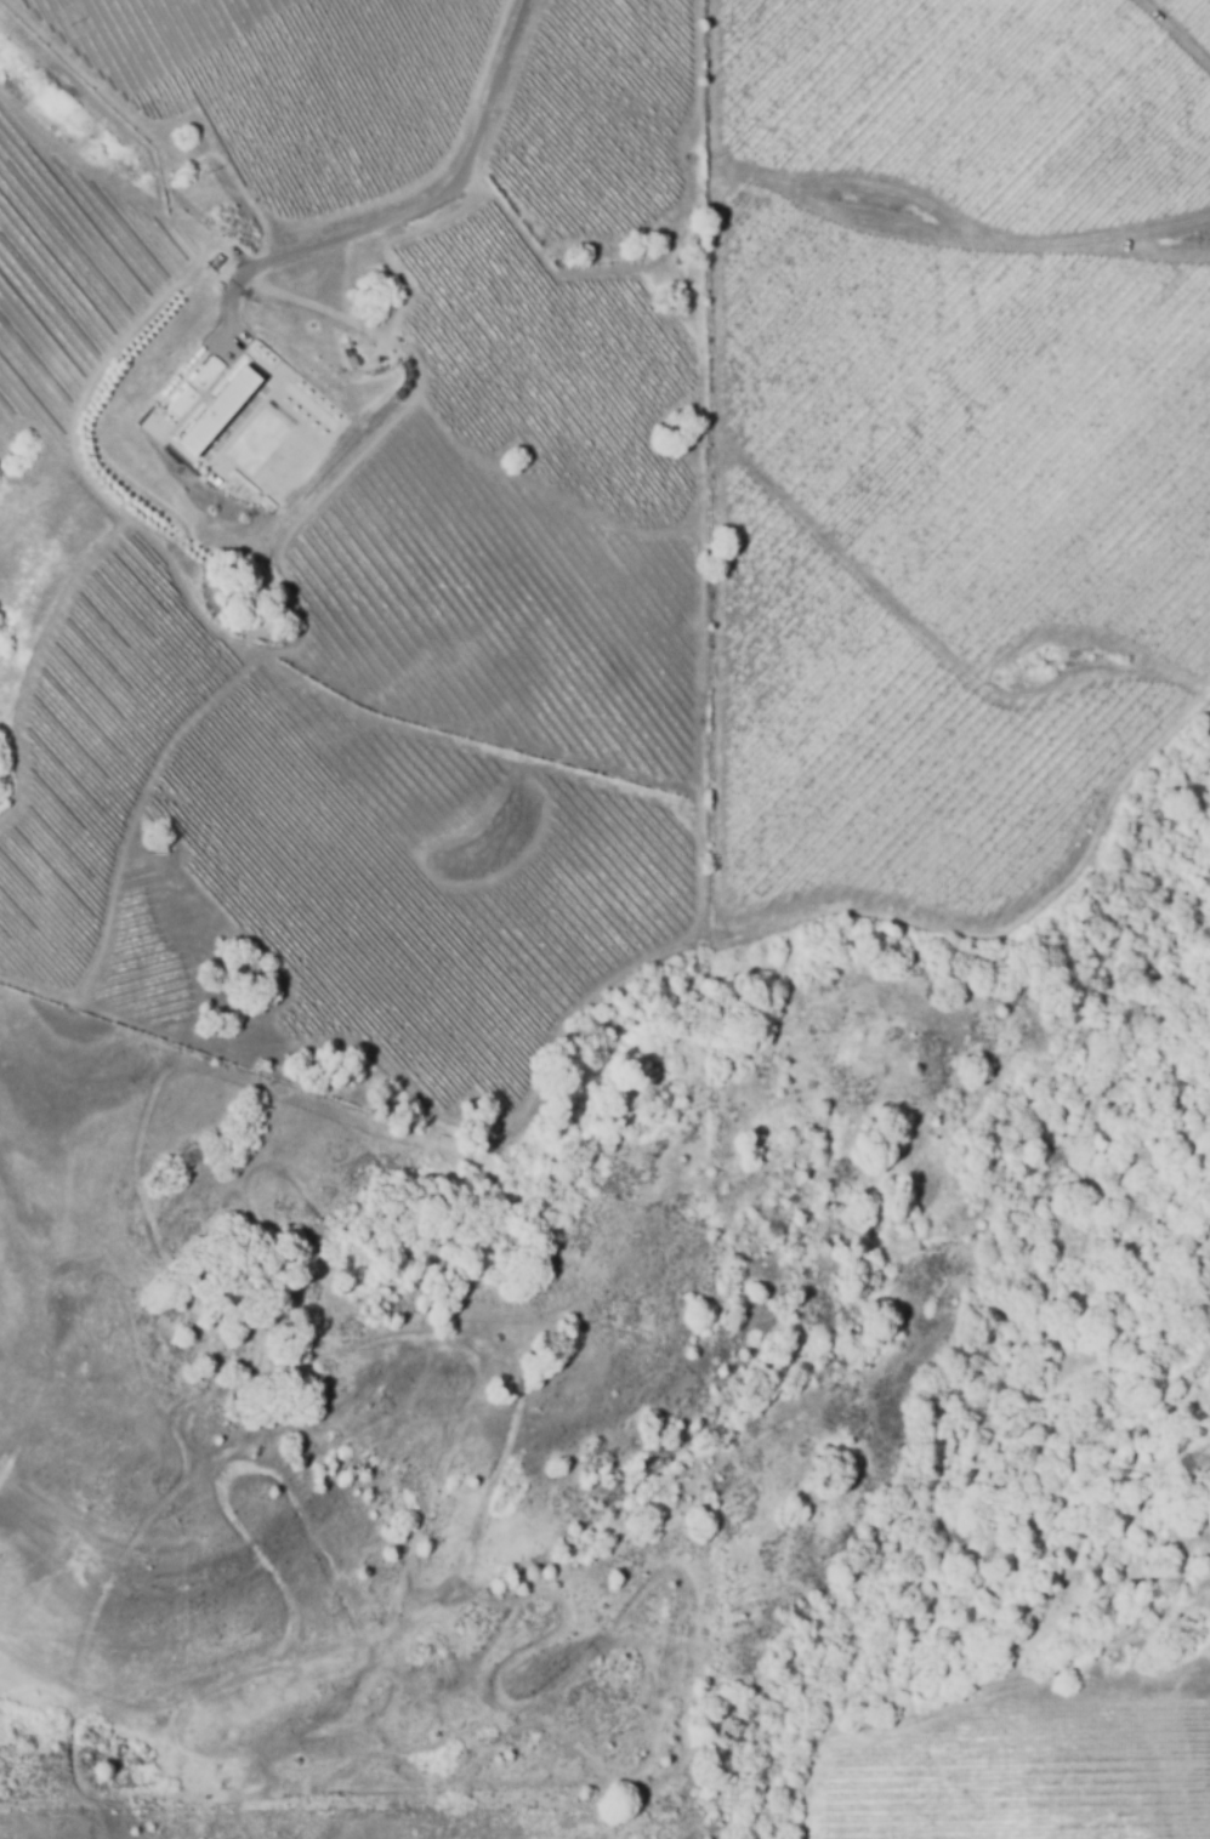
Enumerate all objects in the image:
crop: (1197, 12)
crop: (289, 81)
crop: (978, 102)
crop: (603, 113)
road: (408, 222)
crop: (68, 274)
crop: (553, 361)
building: (216, 416)
crop: (985, 419)
crop: (500, 603)
crop: (893, 739)
crop: (95, 755)
crop: (394, 879)
crop: (1033, 1778)

